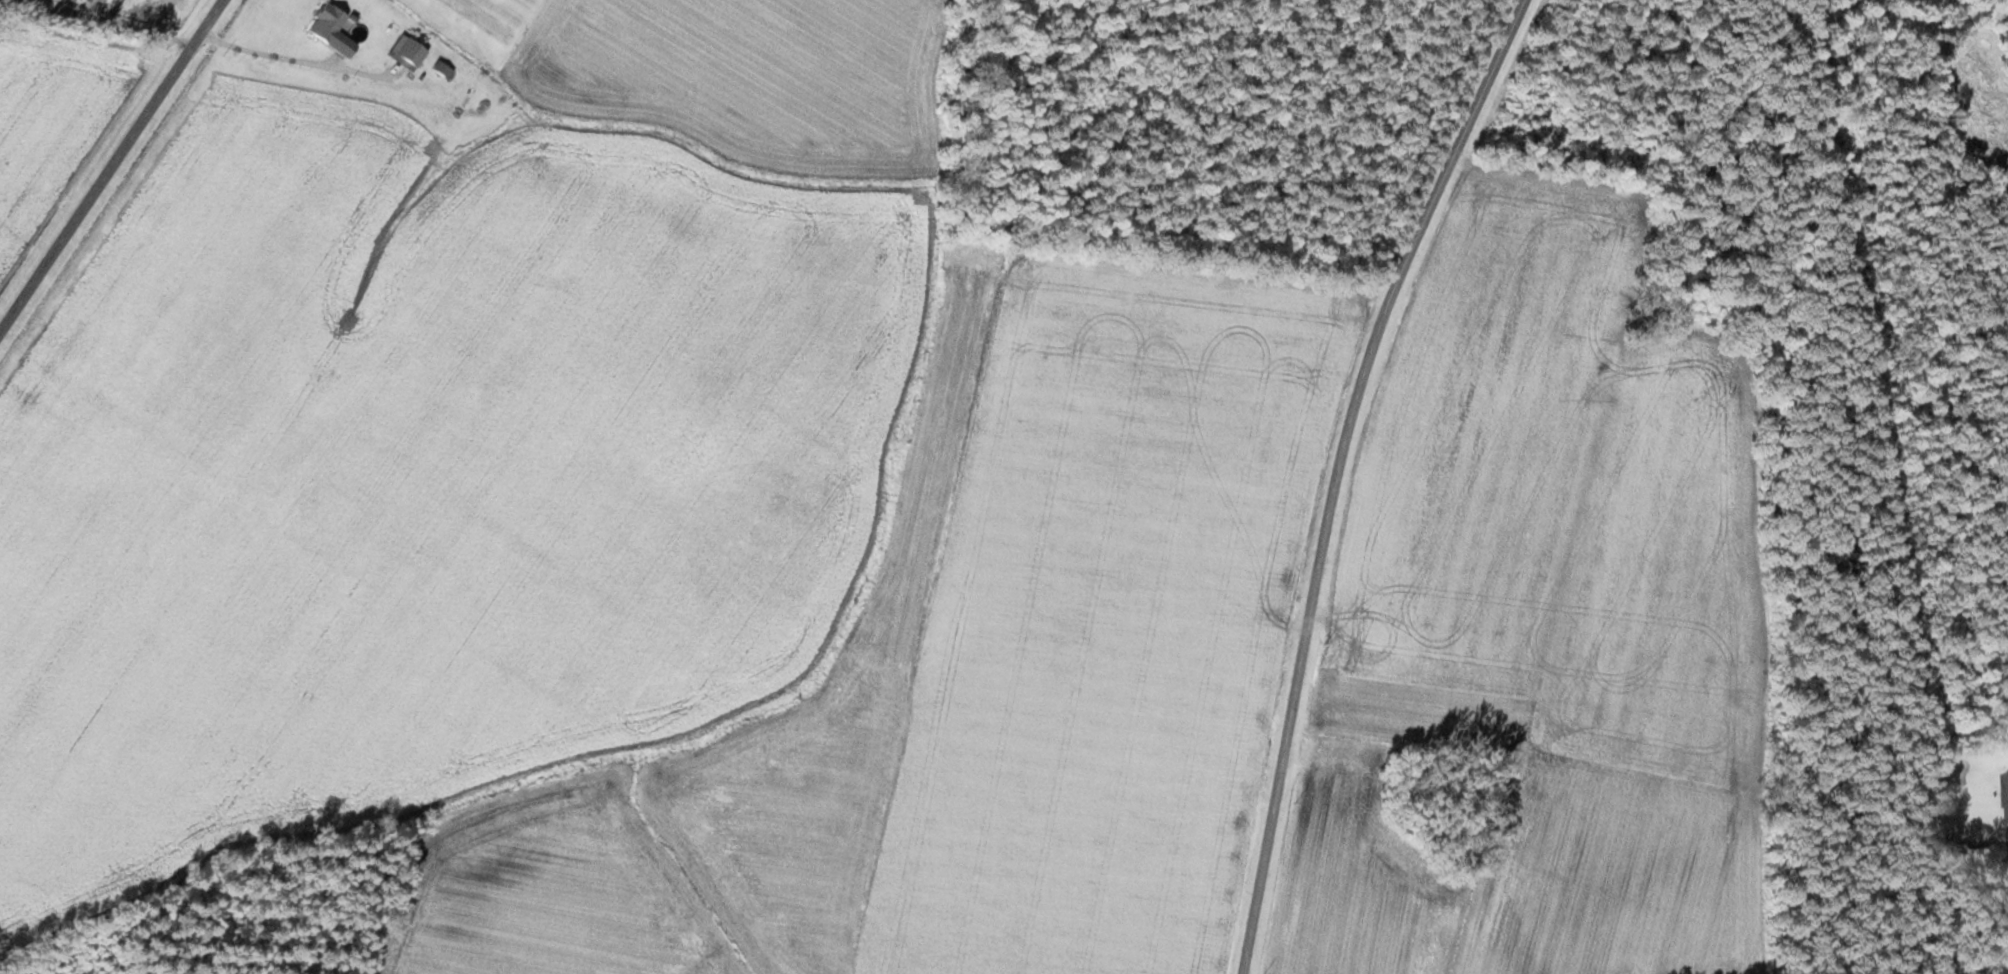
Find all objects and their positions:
building: (88, 2)
building: (324, 23)
building: (409, 53)
road: (115, 171)
road: (1342, 473)
building: (2005, 797)
road: (1997, 832)

